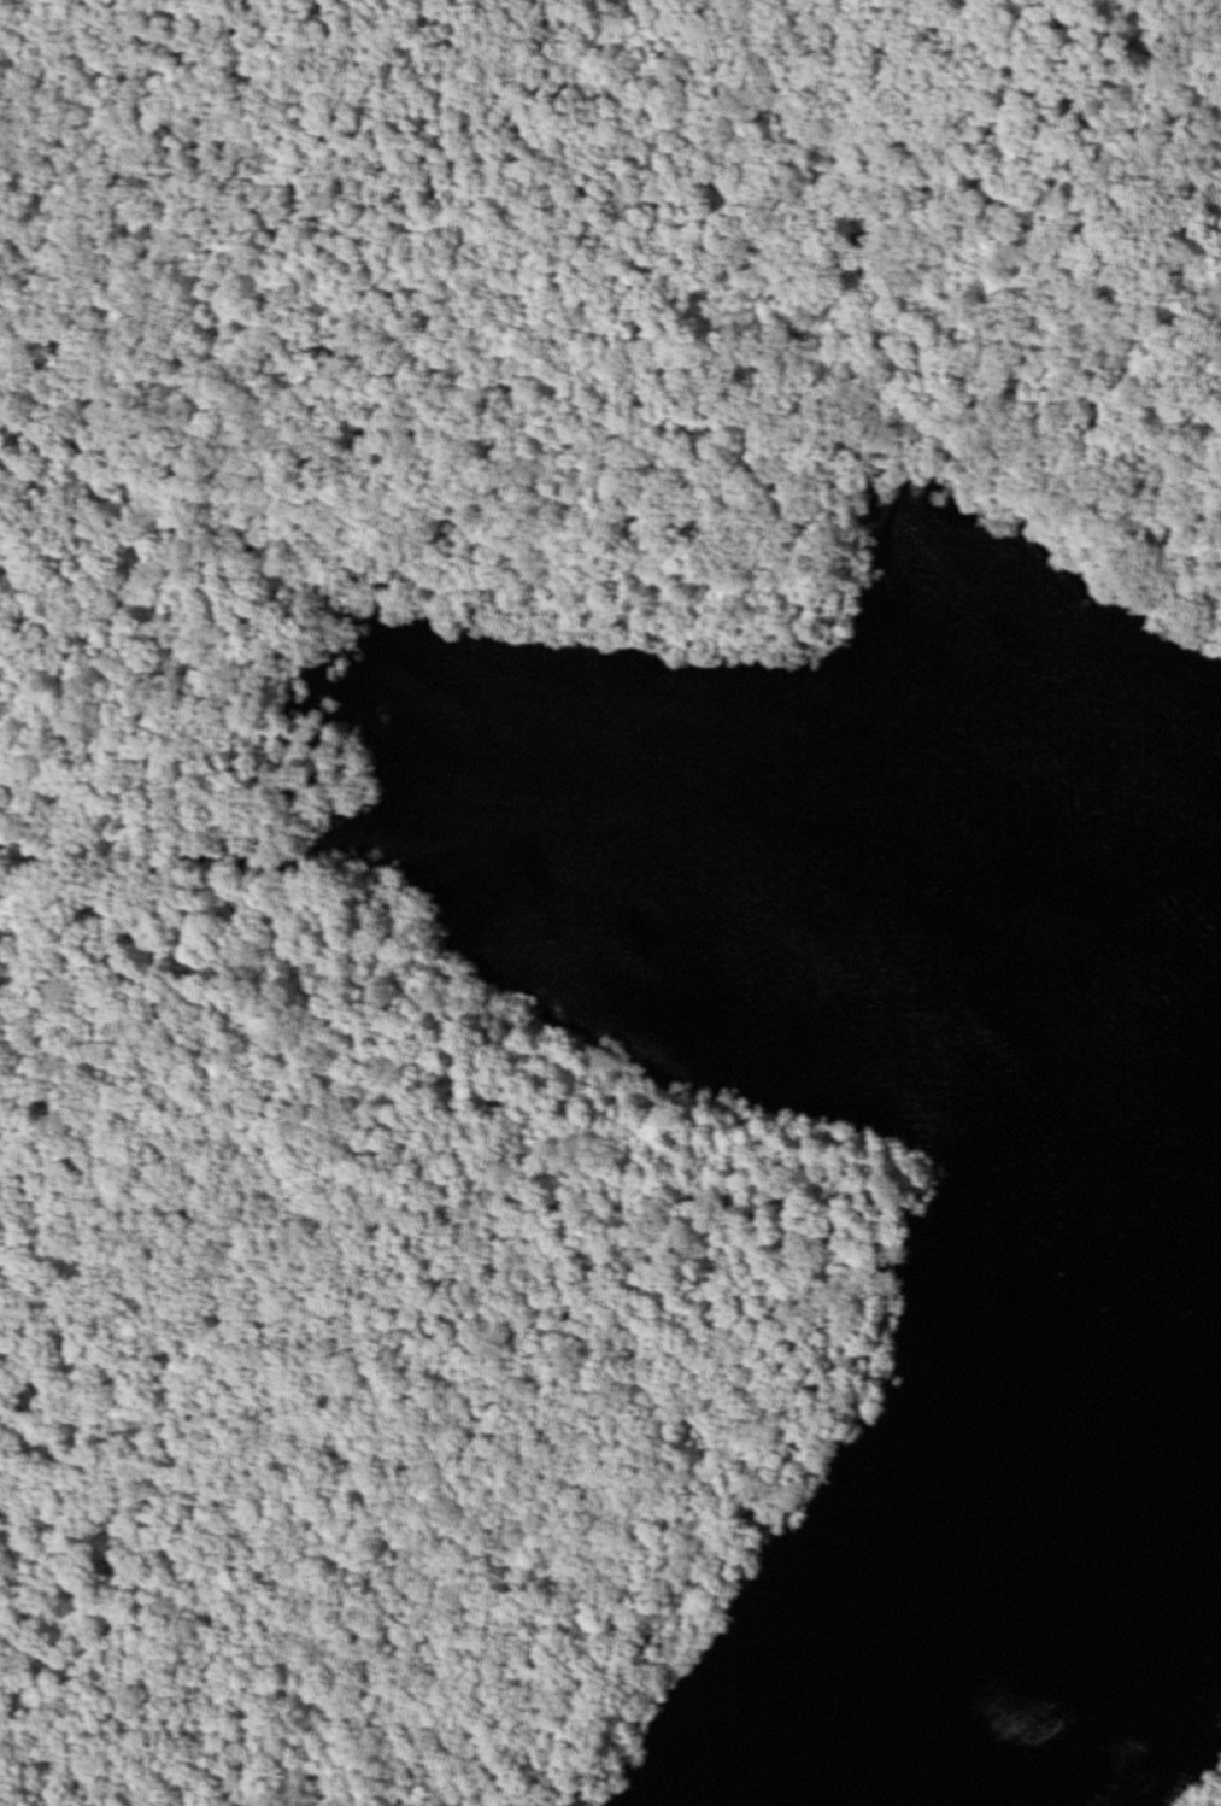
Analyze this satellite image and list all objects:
road: (1129, 177)

